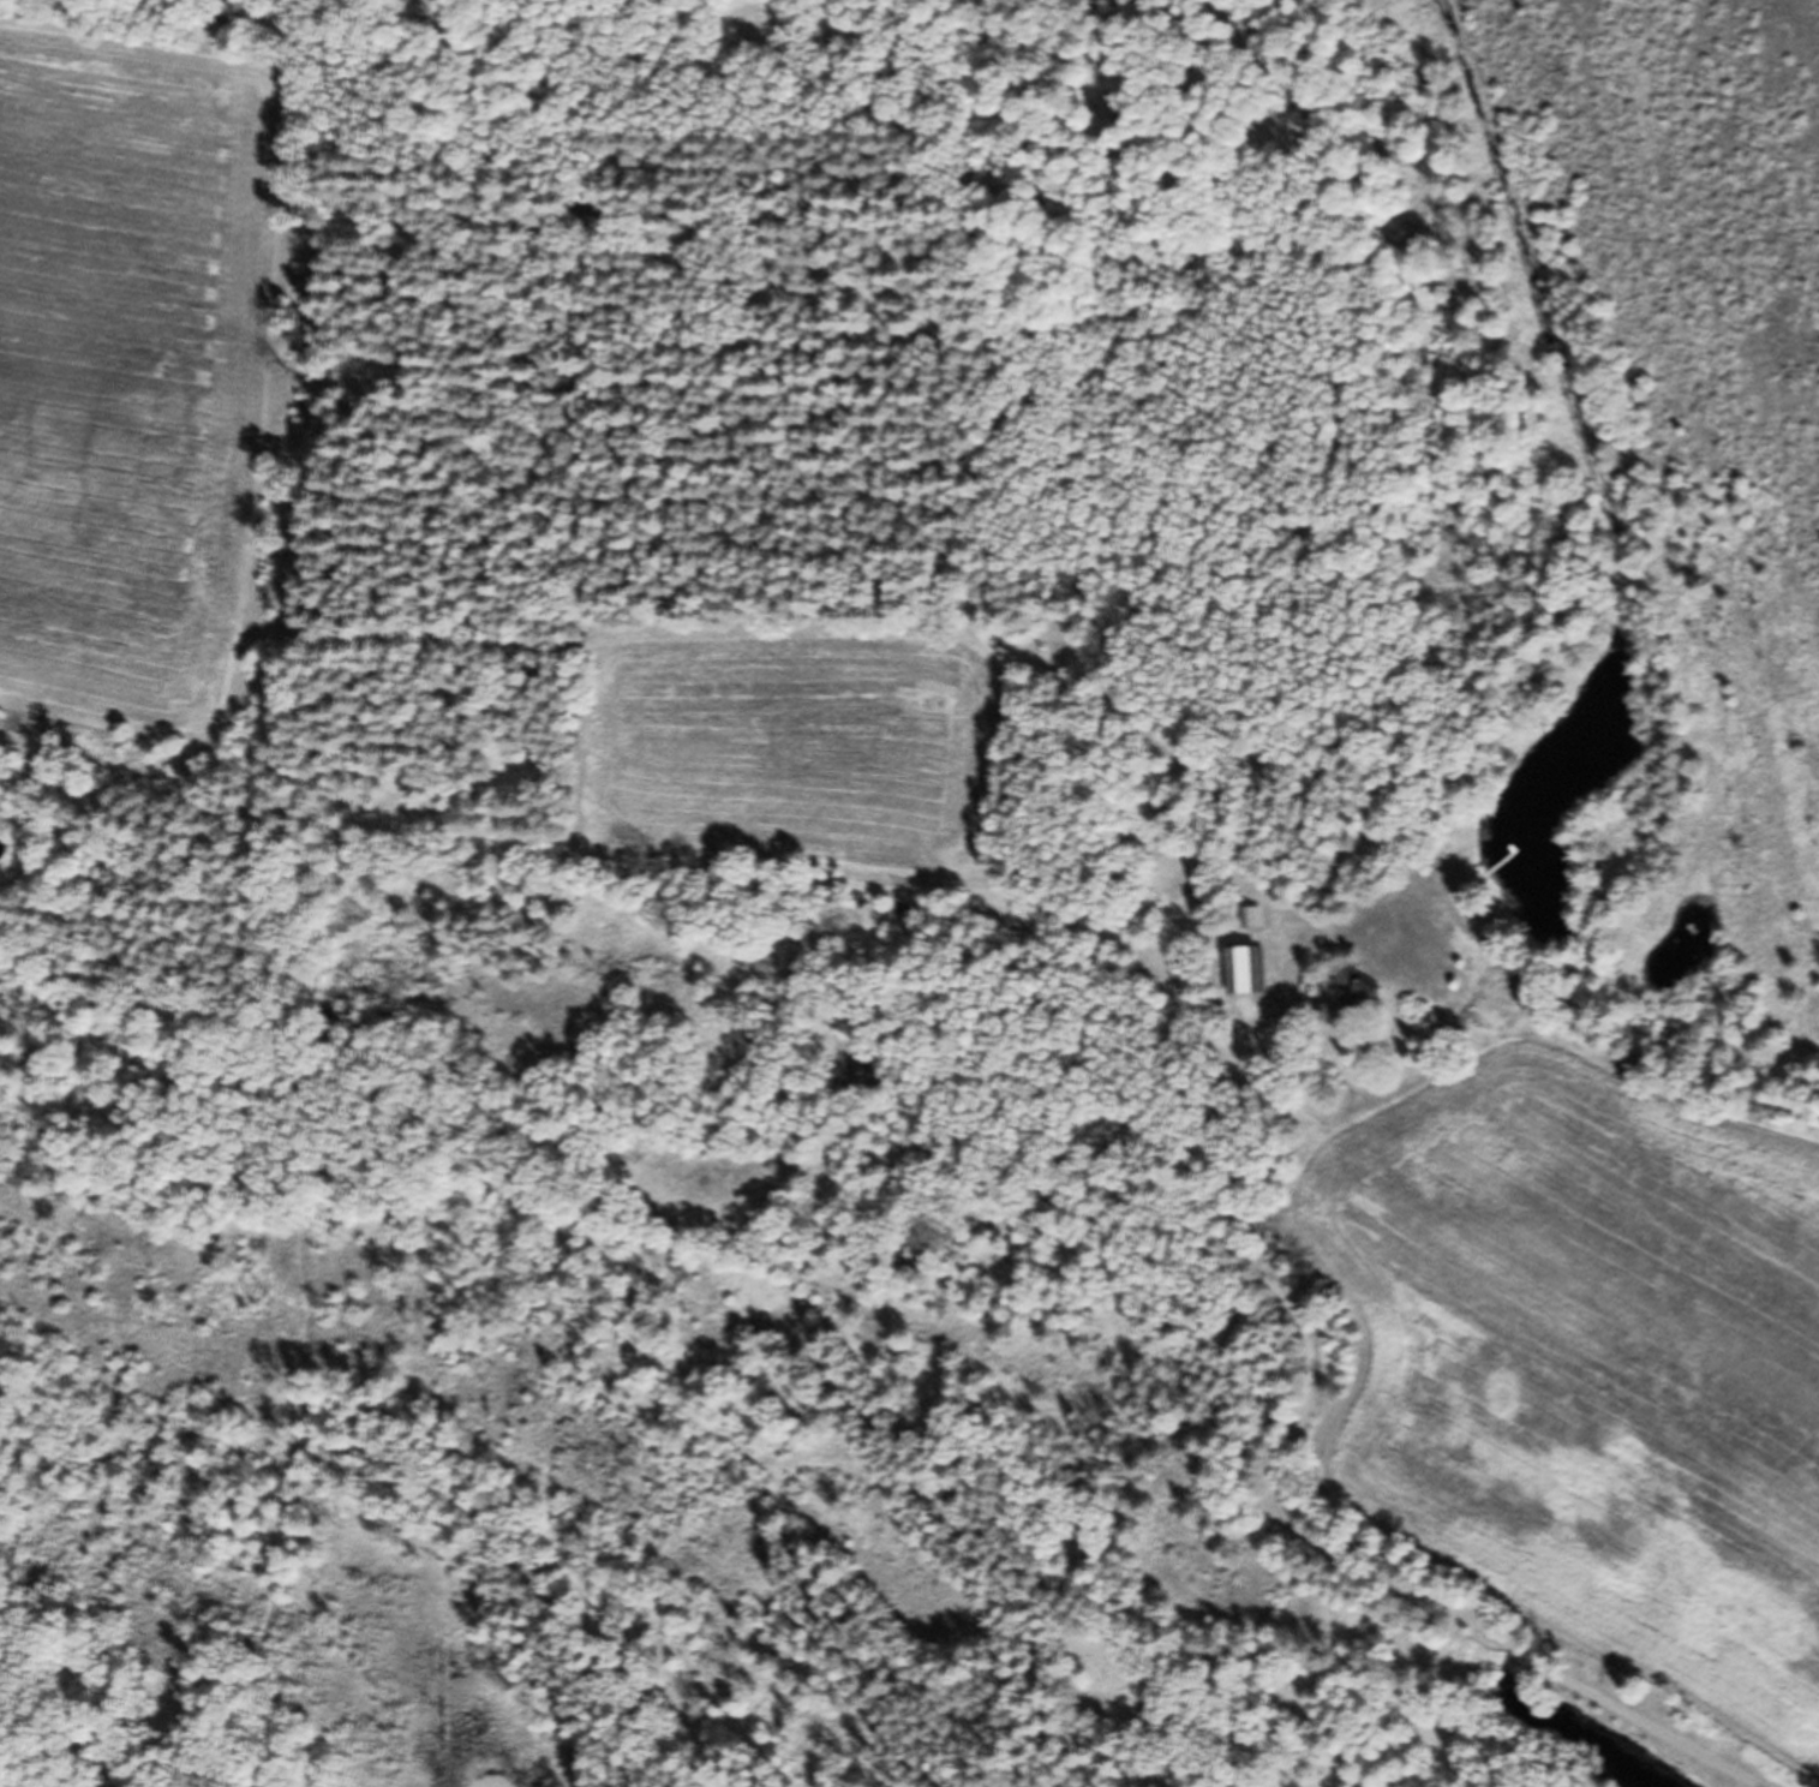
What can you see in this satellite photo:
building: (1240, 981)
building: (1358, 998)
road: (1271, 1517)

